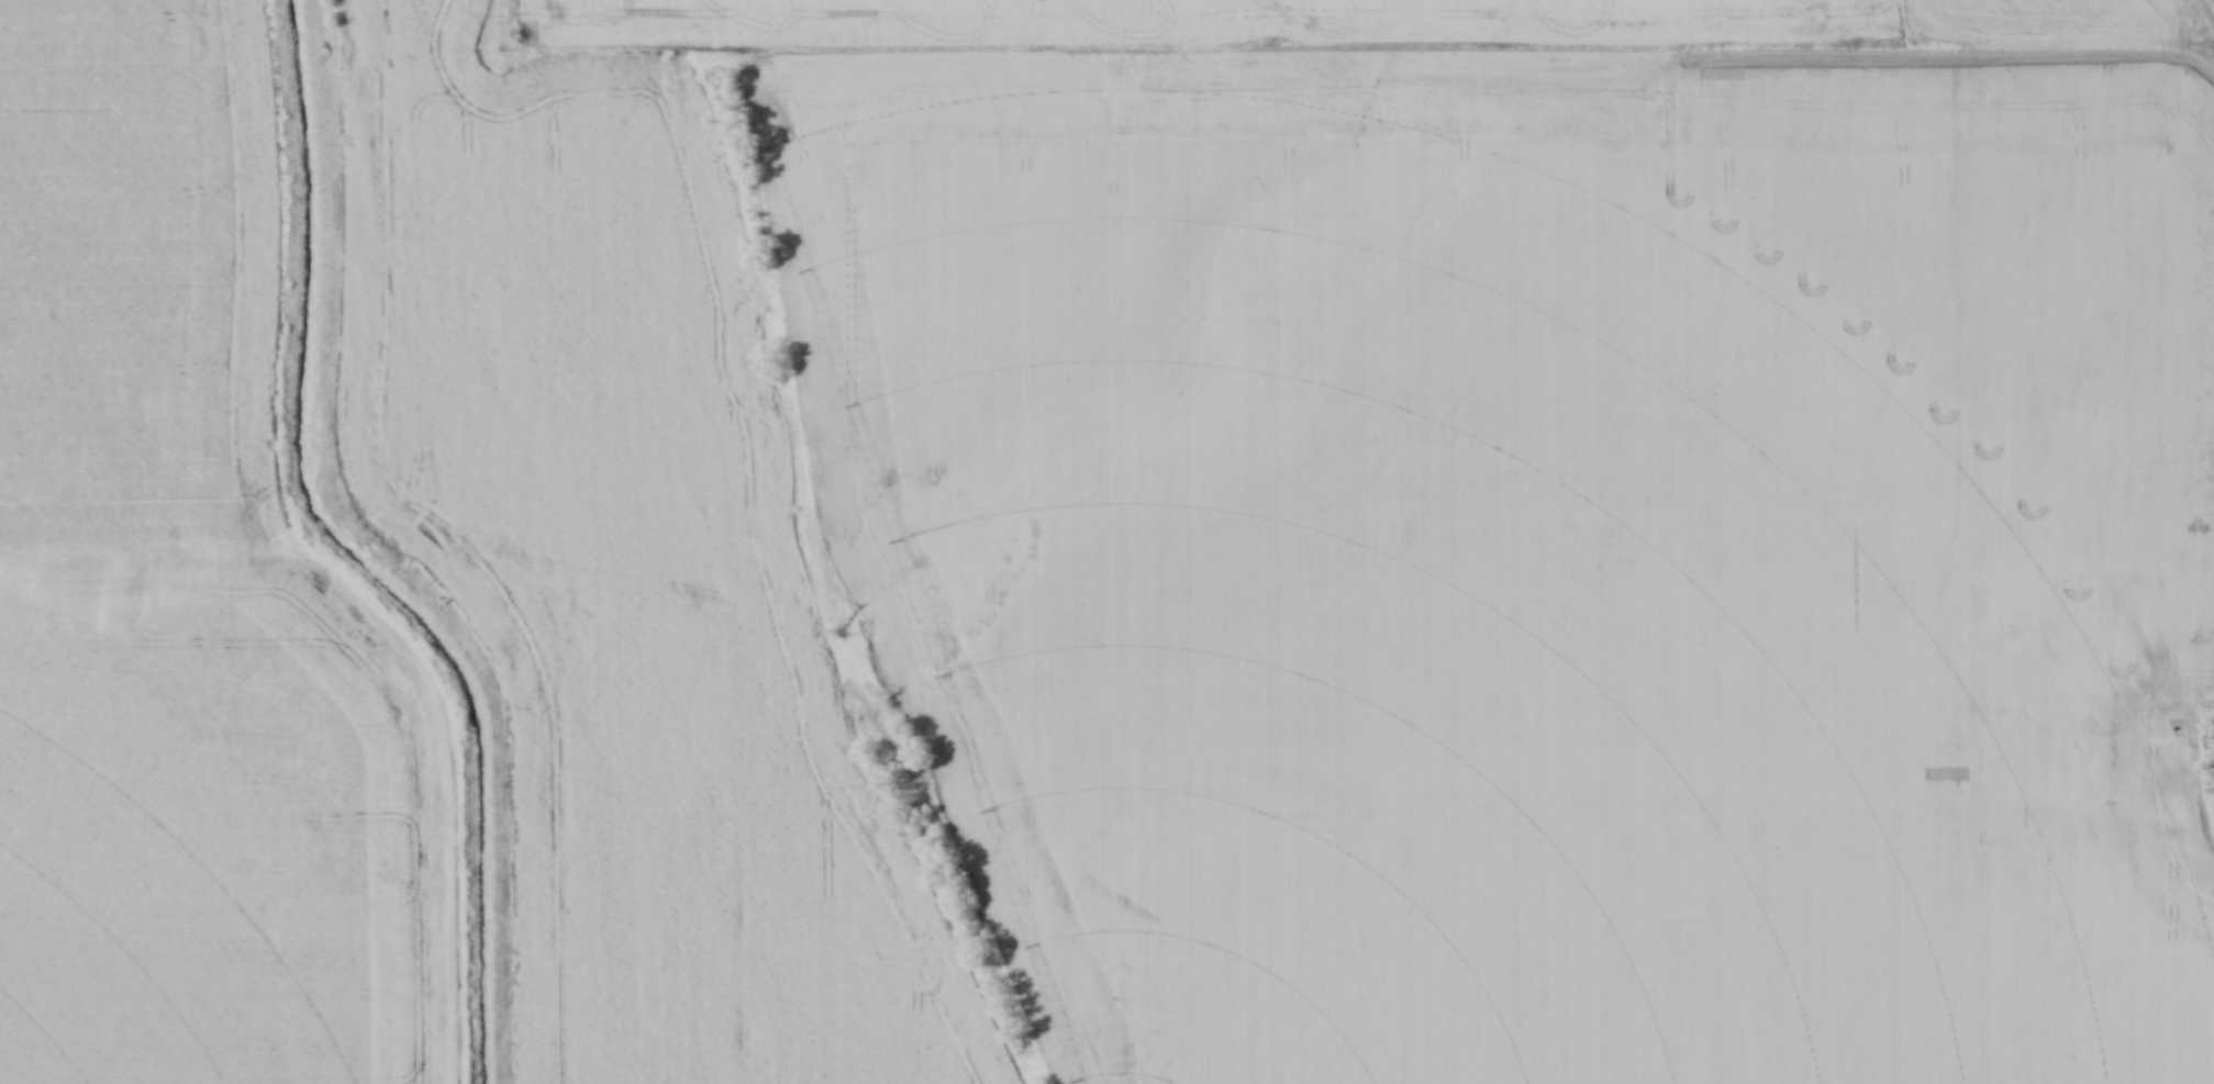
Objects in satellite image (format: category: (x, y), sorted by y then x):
building: (2121, 586)
building: (2141, 638)
building: (516, 1083)

